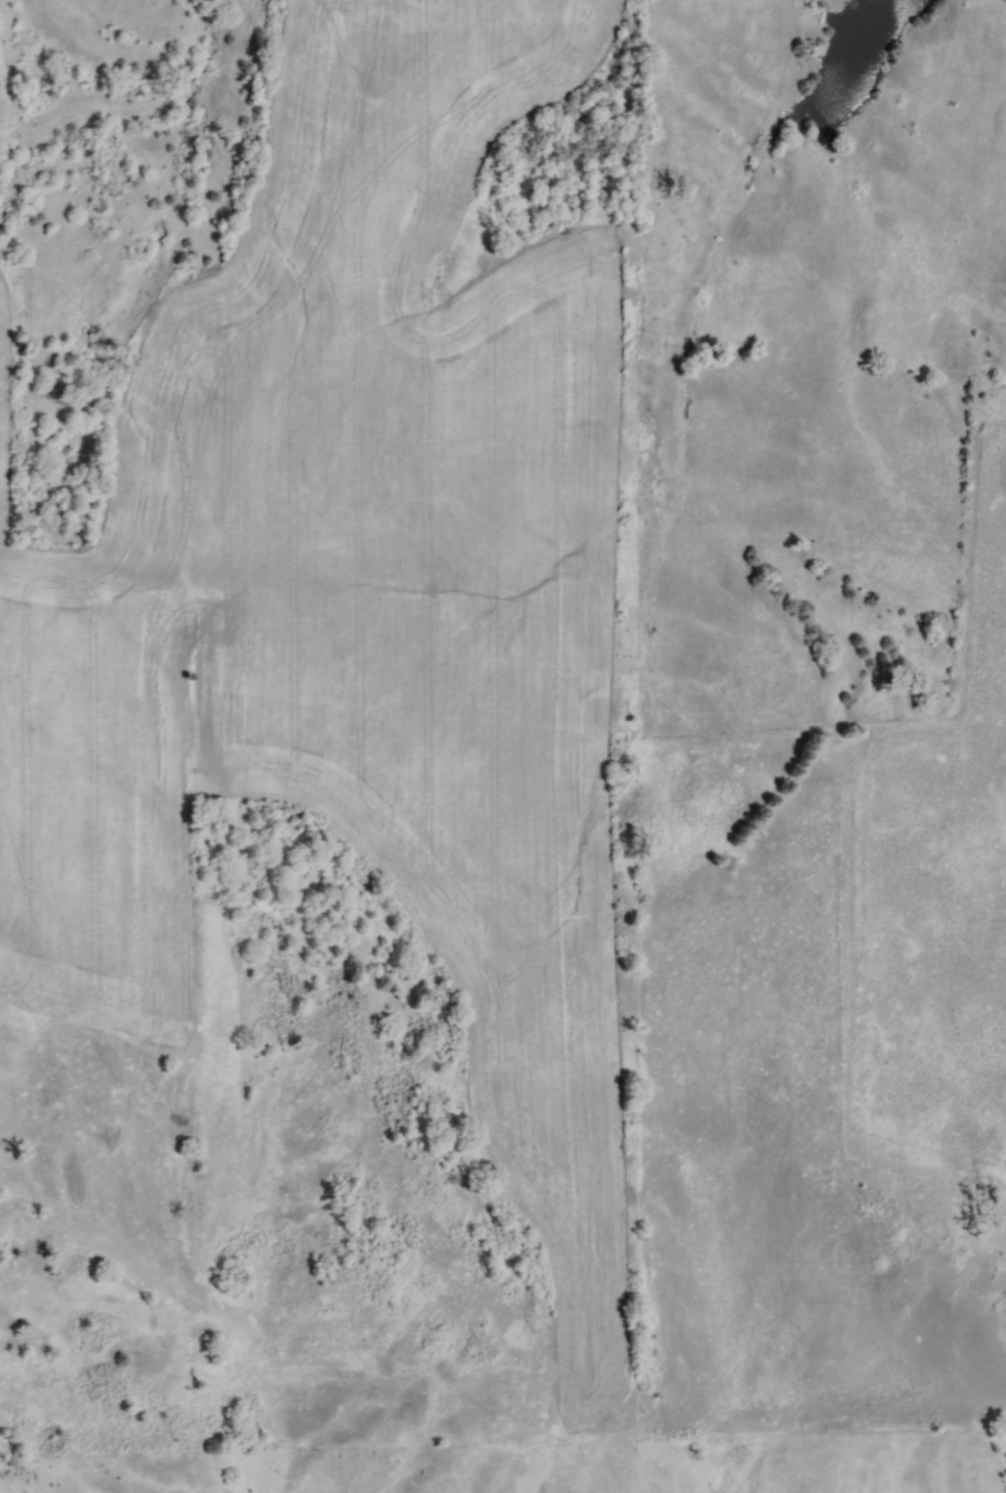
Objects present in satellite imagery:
power tower: (434, 301)

